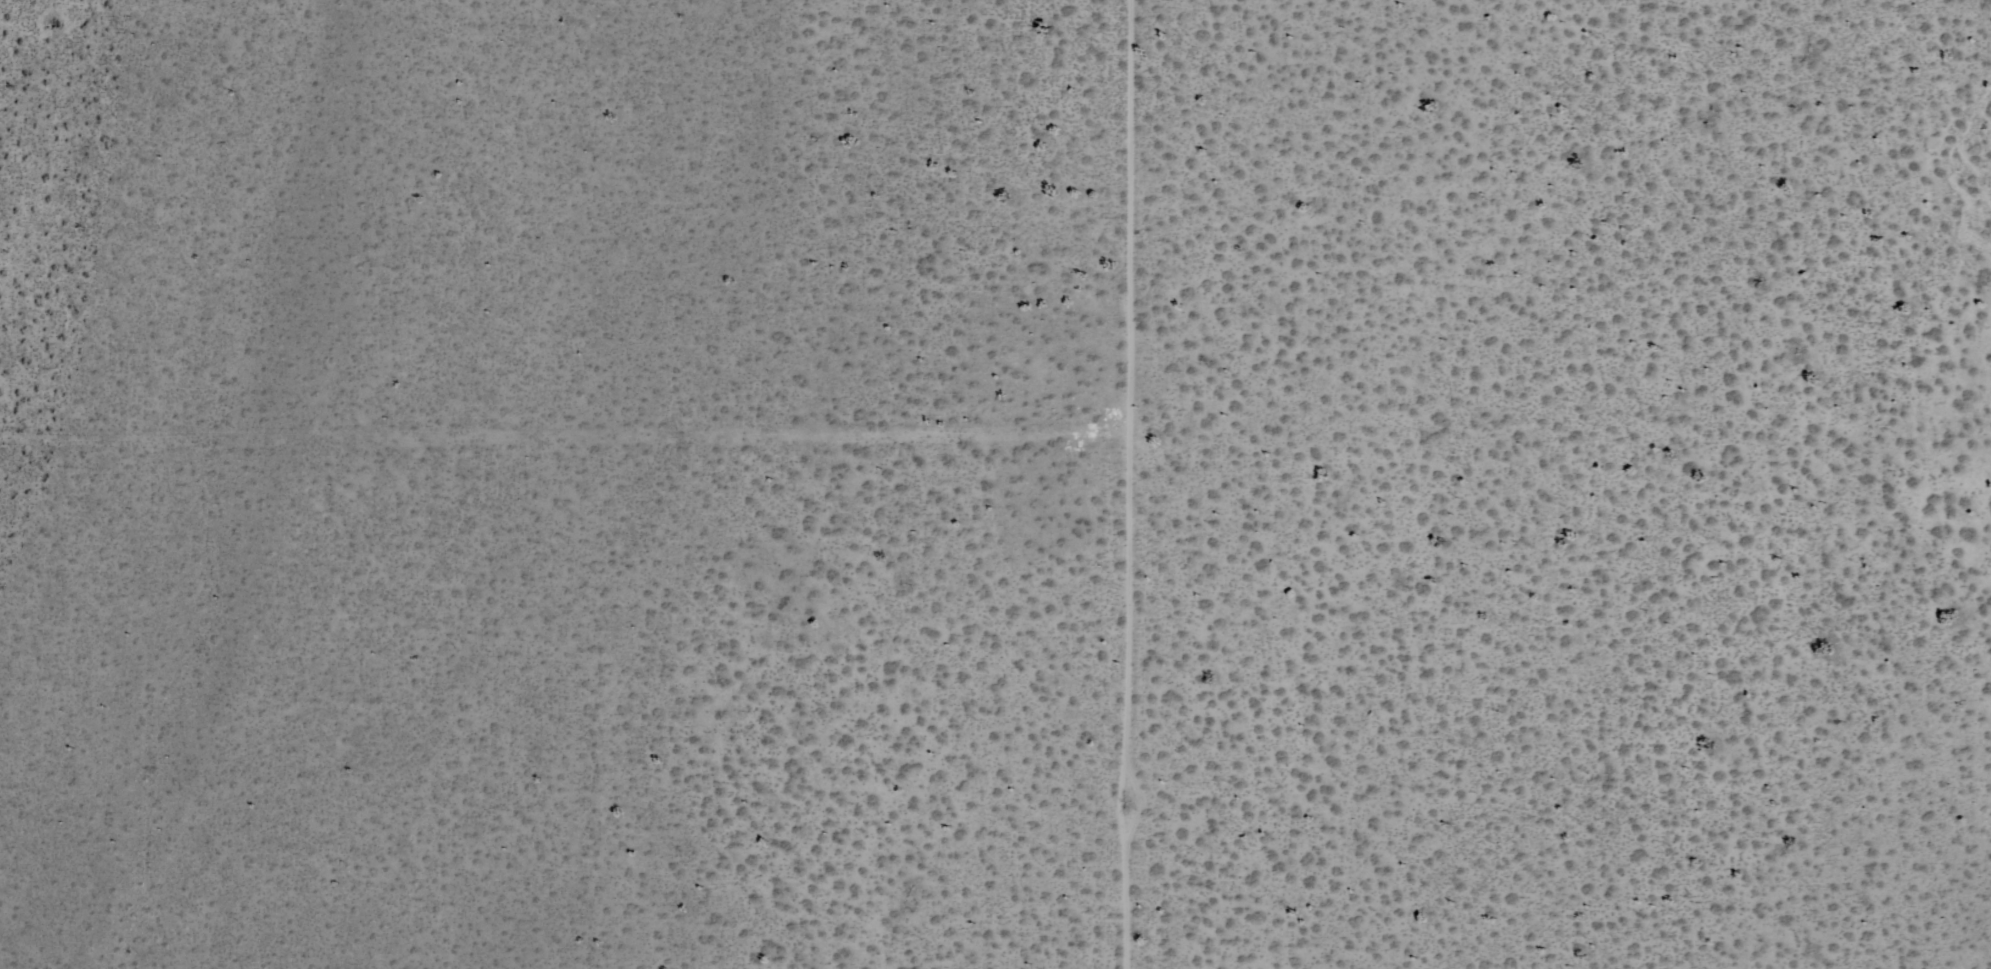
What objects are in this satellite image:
road: (1124, 228)
road: (1121, 712)

